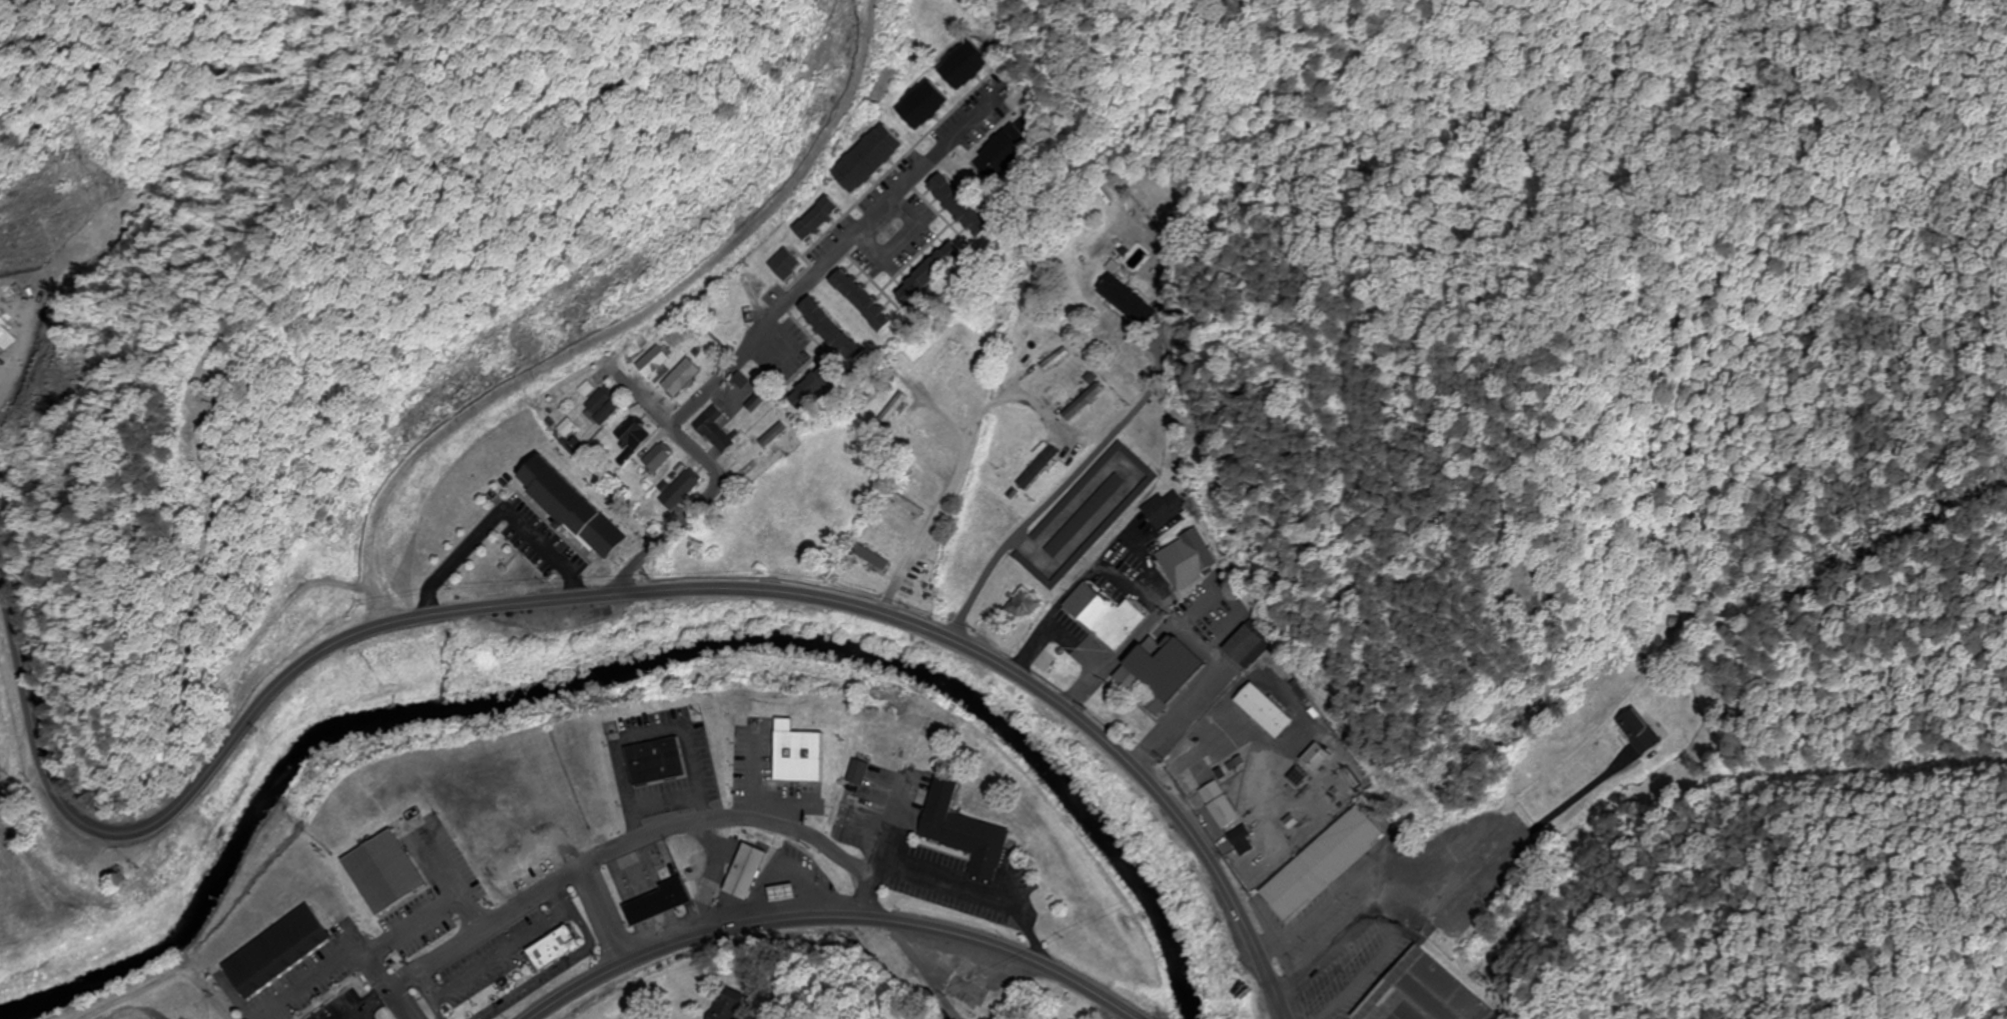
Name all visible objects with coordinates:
building: (970, 67)
building: (925, 103)
building: (1007, 148)
building: (871, 156)
building: (961, 204)
building: (818, 216)
road: (907, 237)
building: (786, 262)
building: (932, 271)
building: (863, 298)
building: (1129, 298)
building: (834, 328)
road: (760, 334)
building: (1037, 348)
building: (948, 362)
building: (1050, 362)
building: (655, 363)
building: (969, 373)
building: (682, 376)
building: (743, 382)
building: (1073, 382)
building: (815, 387)
building: (876, 393)
road: (642, 399)
building: (1085, 400)
building: (606, 407)
building: (893, 411)
building: (1105, 421)
building: (716, 427)
building: (635, 440)
building: (933, 441)
building: (1020, 452)
building: (661, 459)
building: (1037, 473)
building: (683, 491)
road: (948, 495)
building: (573, 505)
building: (1127, 505)
building: (1166, 509)
building: (1087, 514)
building: (894, 532)
building: (1200, 551)
building: (876, 559)
road: (608, 595)
building: (1106, 614)
building: (1247, 644)
river: (623, 661)
building: (1165, 672)
building: (1267, 711)
building: (1640, 731)
building: (800, 752)
building: (1318, 758)
building: (661, 765)
building: (860, 773)
building: (1223, 805)
building: (967, 832)
building: (1356, 834)
building: (1246, 842)
road: (616, 851)
building: (747, 870)
gas station: (747, 870)
building: (391, 880)
building: (1294, 891)
building: (783, 893)
gas station: (785, 900)
building: (660, 902)
road: (836, 920)
building: (276, 947)
building: (558, 949)
road: (918, 971)
parking lot: (314, 983)
building: (971, 993)
building: (1423, 994)
building: (730, 1004)
road: (137, 1011)
road: (1129, 1016)

